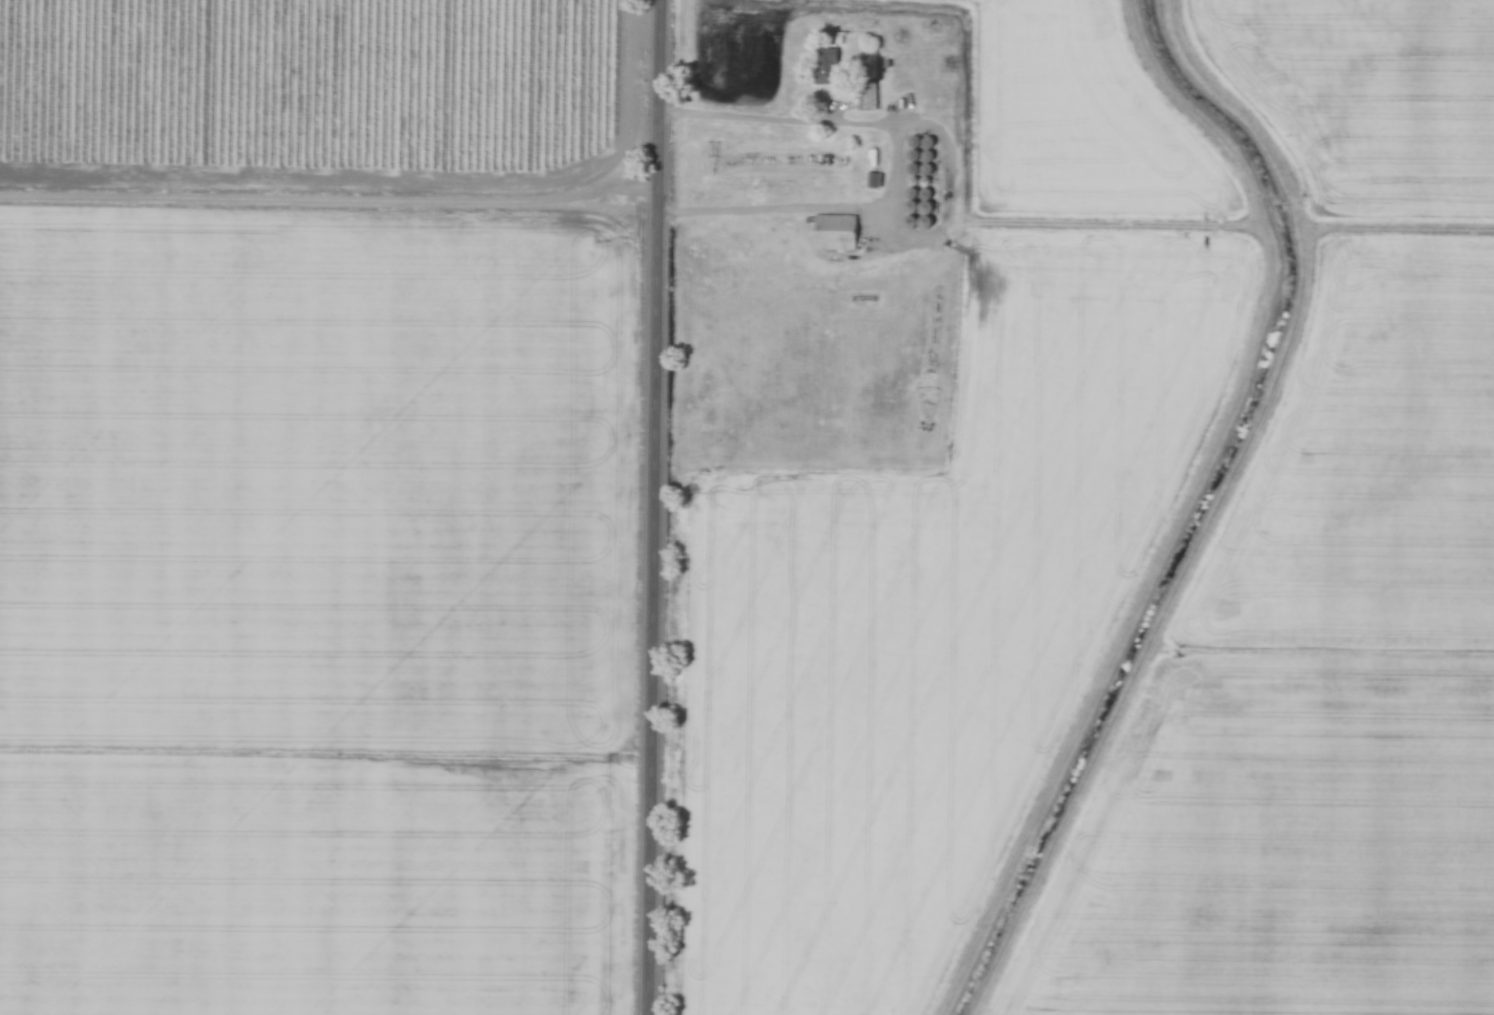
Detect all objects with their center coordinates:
crop: (1360, 100)
road: (900, 165)
road: (653, 507)

